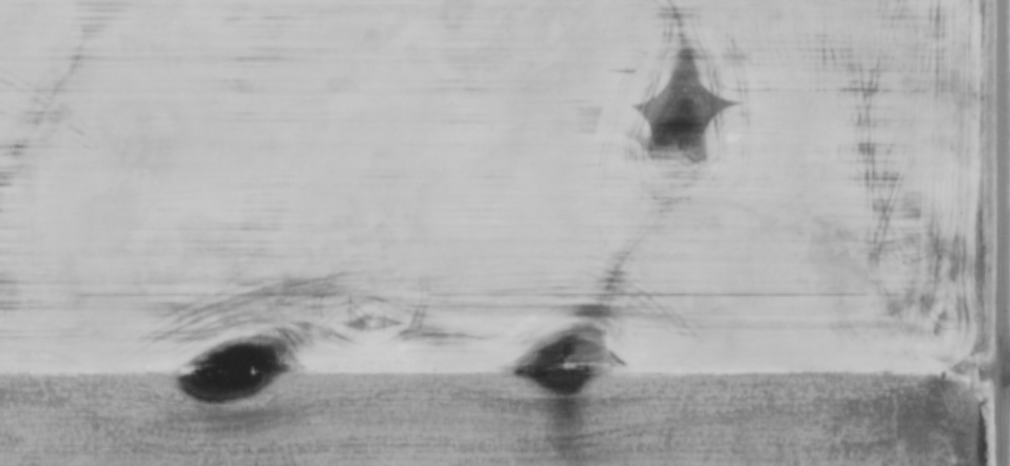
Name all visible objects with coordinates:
road: (1005, 232)
road: (1007, 365)

